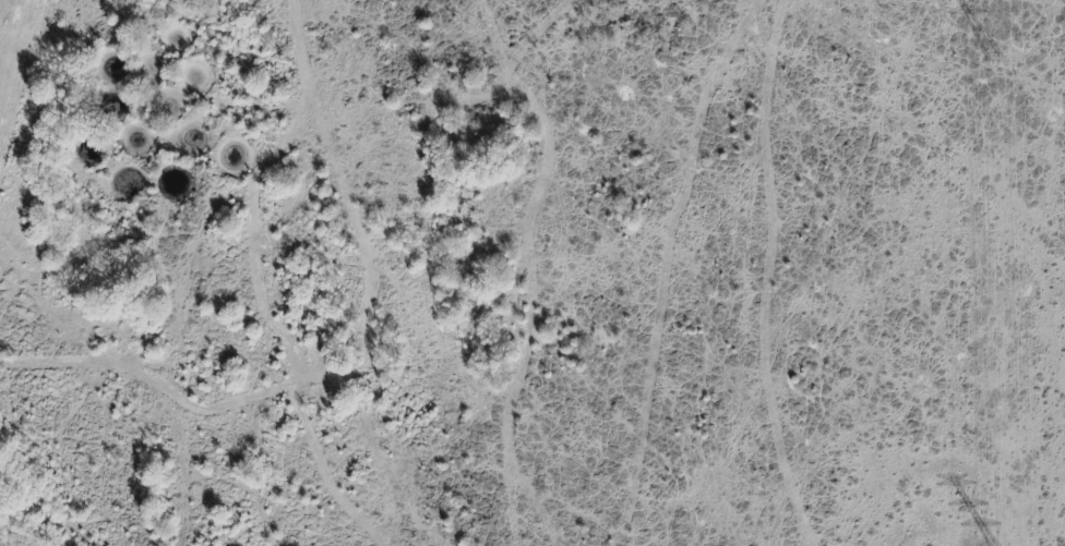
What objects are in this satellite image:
power tower: (997, 62)

